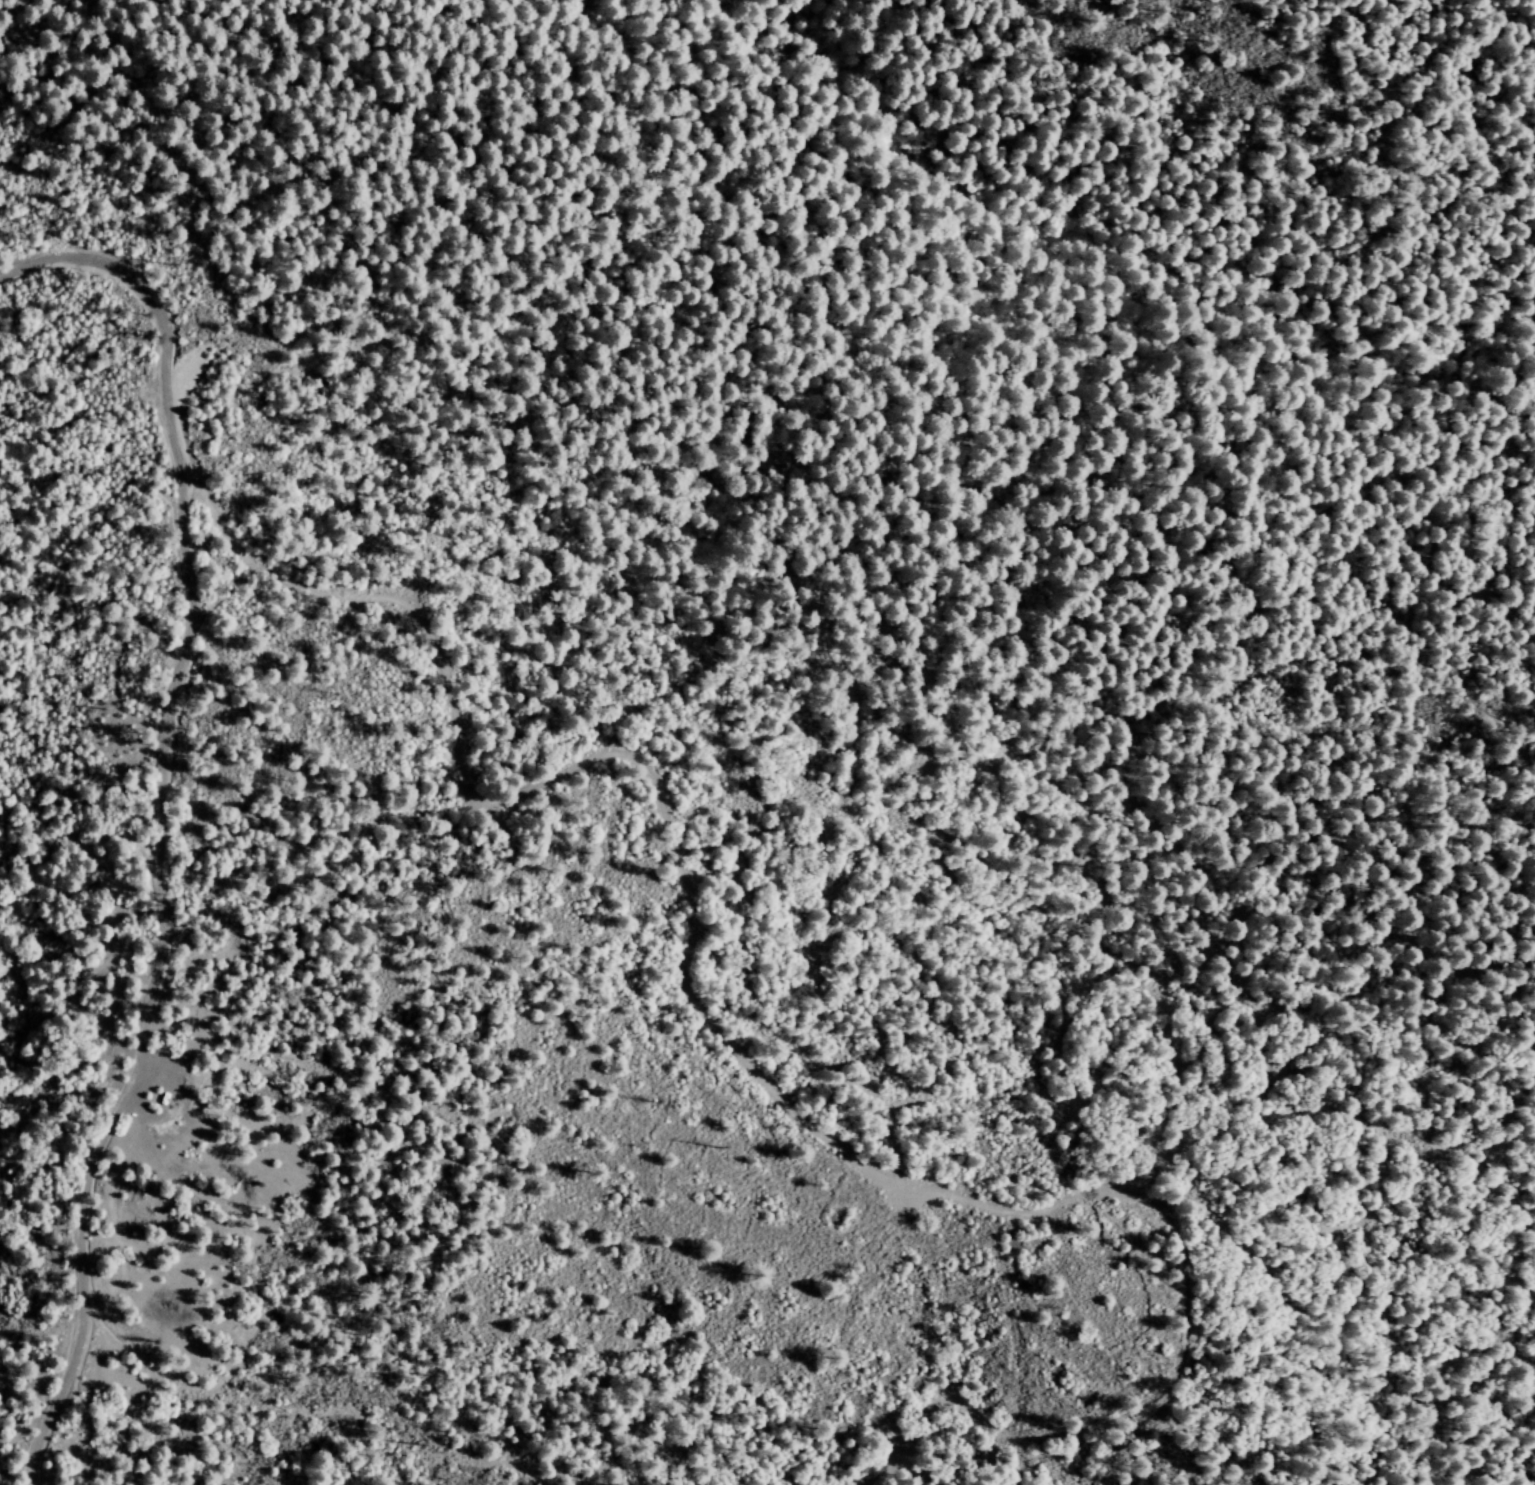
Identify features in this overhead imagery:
park: (1033, 350)
road: (657, 807)
road: (155, 817)

